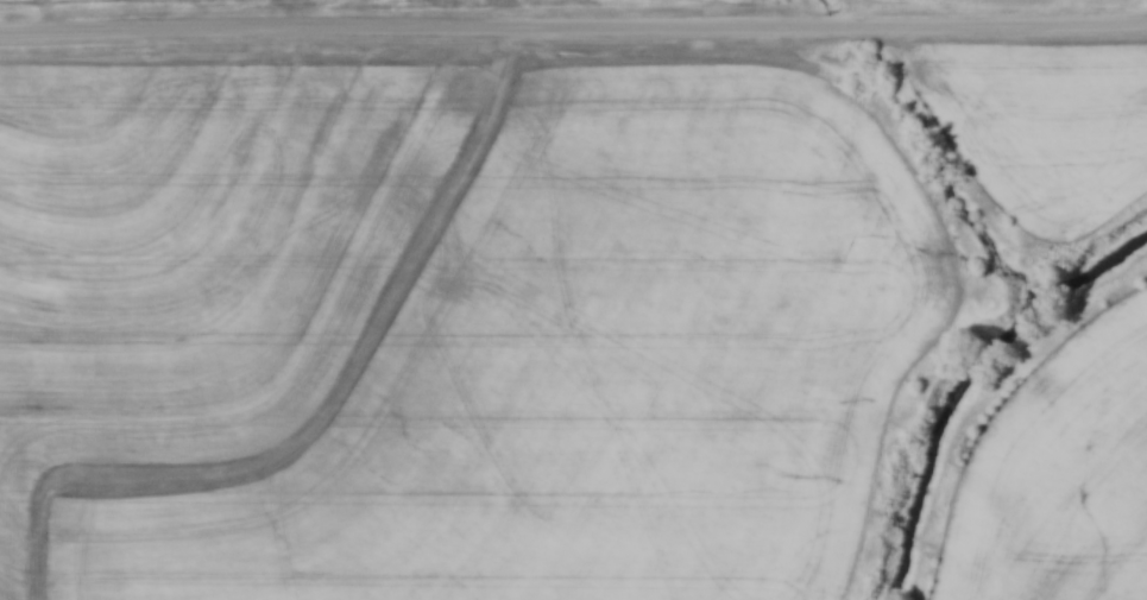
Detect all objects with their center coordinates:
road: (573, 30)

